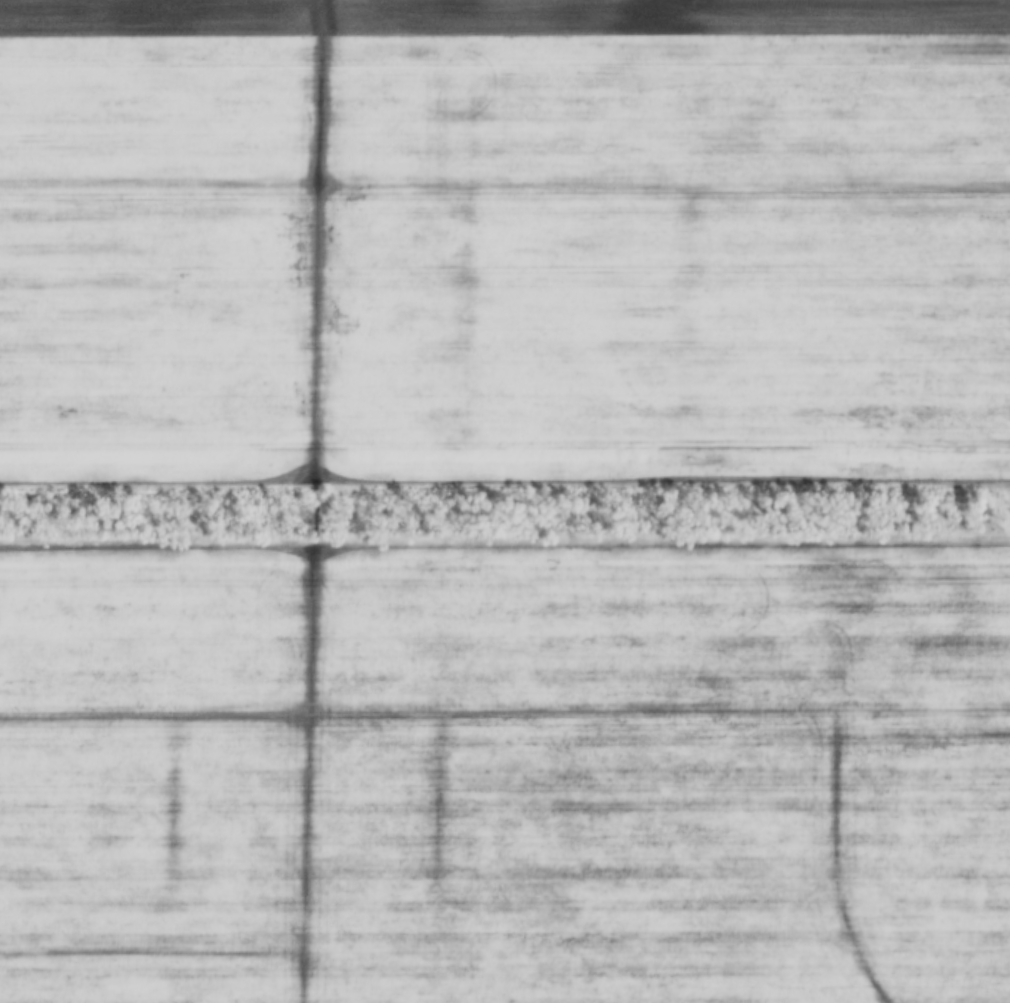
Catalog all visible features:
crop: (505, 244)
crop: (505, 770)

